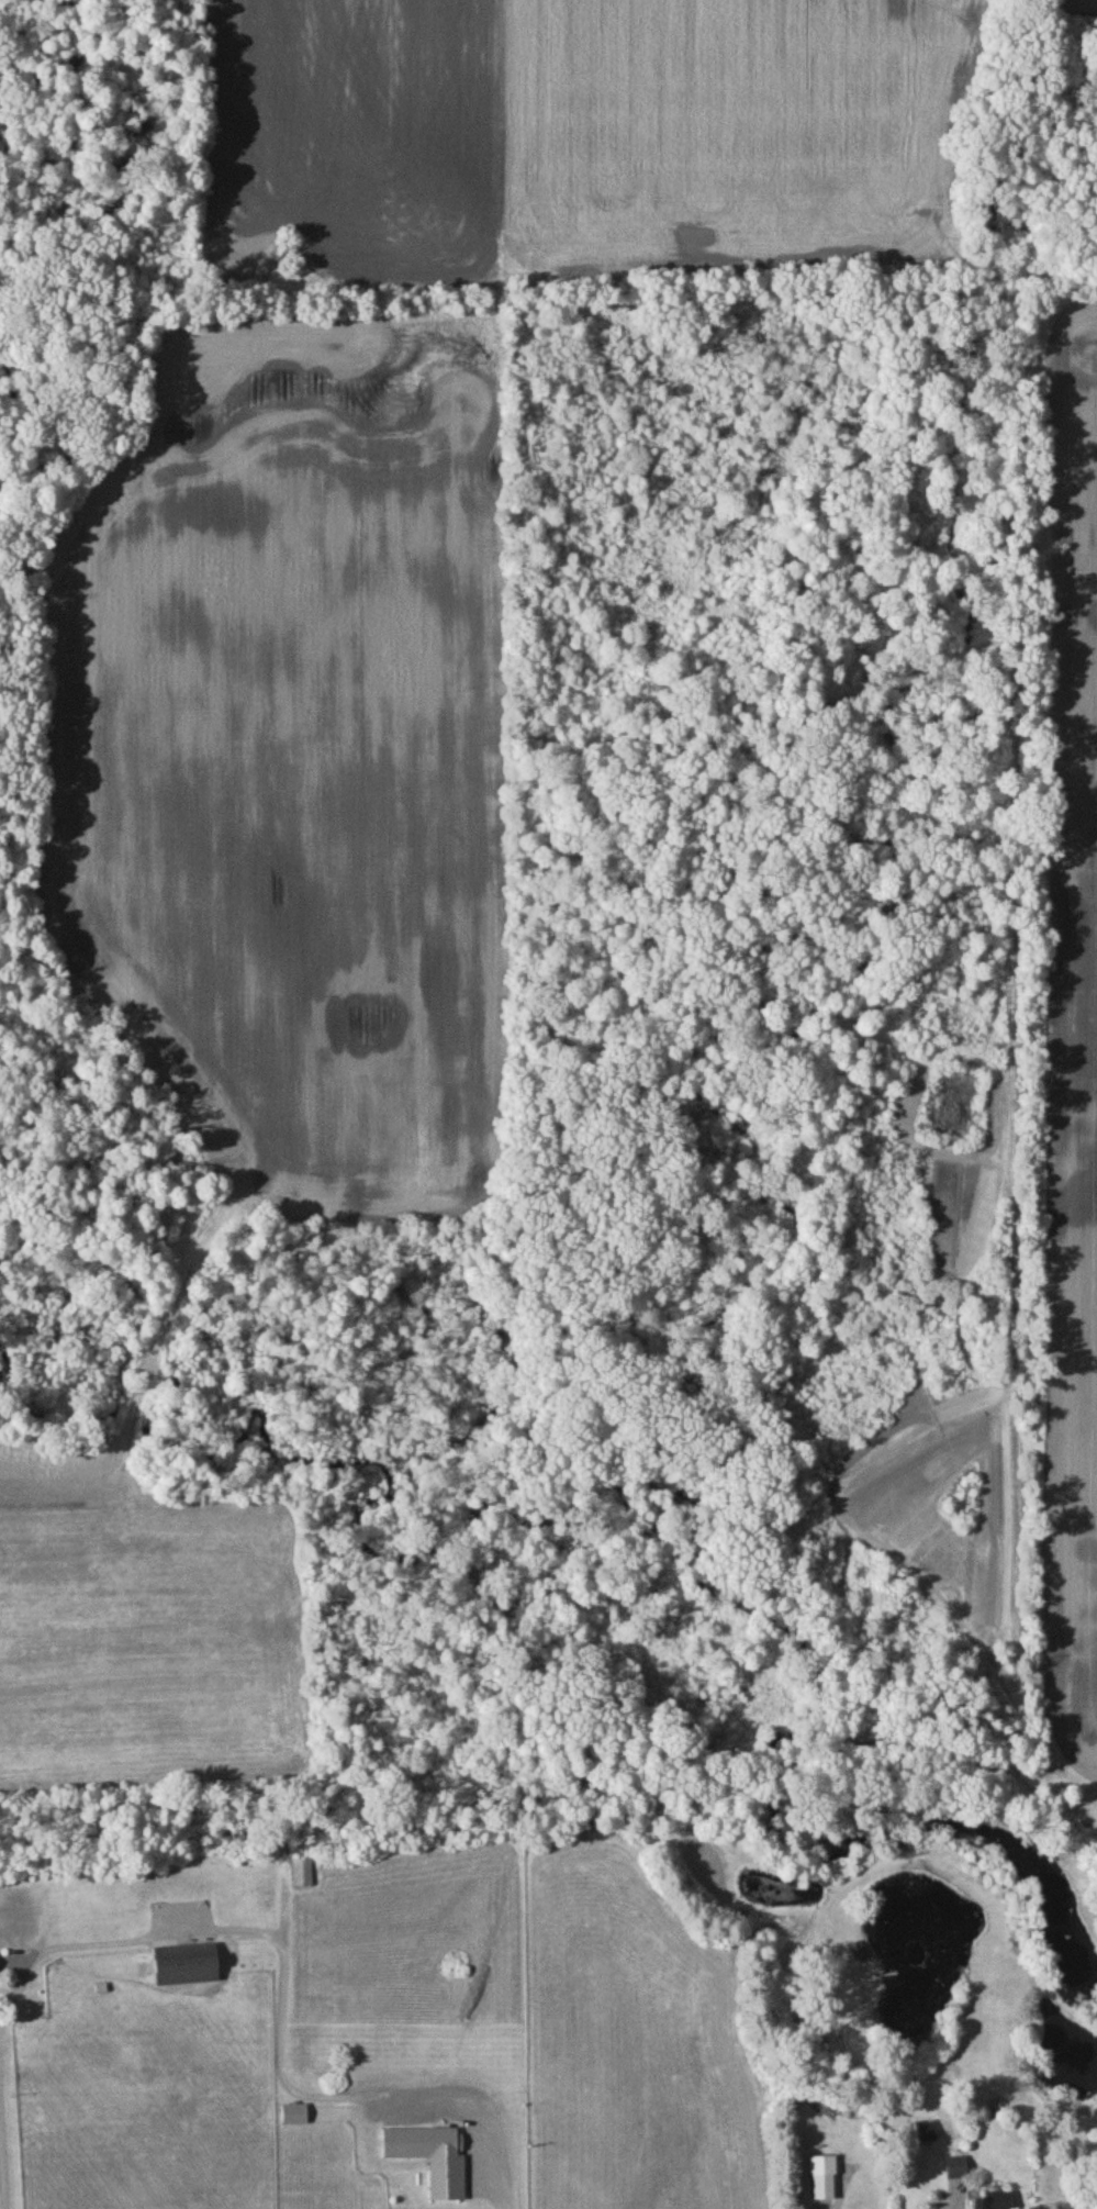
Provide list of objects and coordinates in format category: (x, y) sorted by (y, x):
building: (302, 1876)
road: (256, 1927)
building: (860, 1954)
building: (190, 1968)
building: (994, 2110)
building: (296, 2119)
building: (926, 2135)
building: (433, 2162)
building: (956, 2173)
building: (824, 2183)
road: (1087, 2196)
building: (997, 2204)

